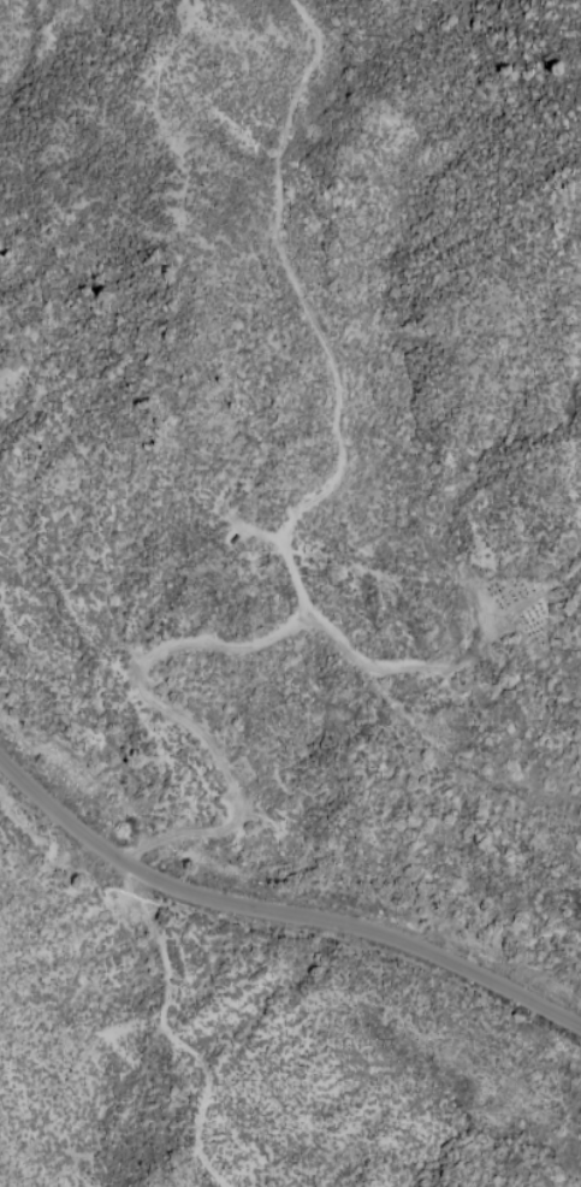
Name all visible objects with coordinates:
road: (278, 915)

